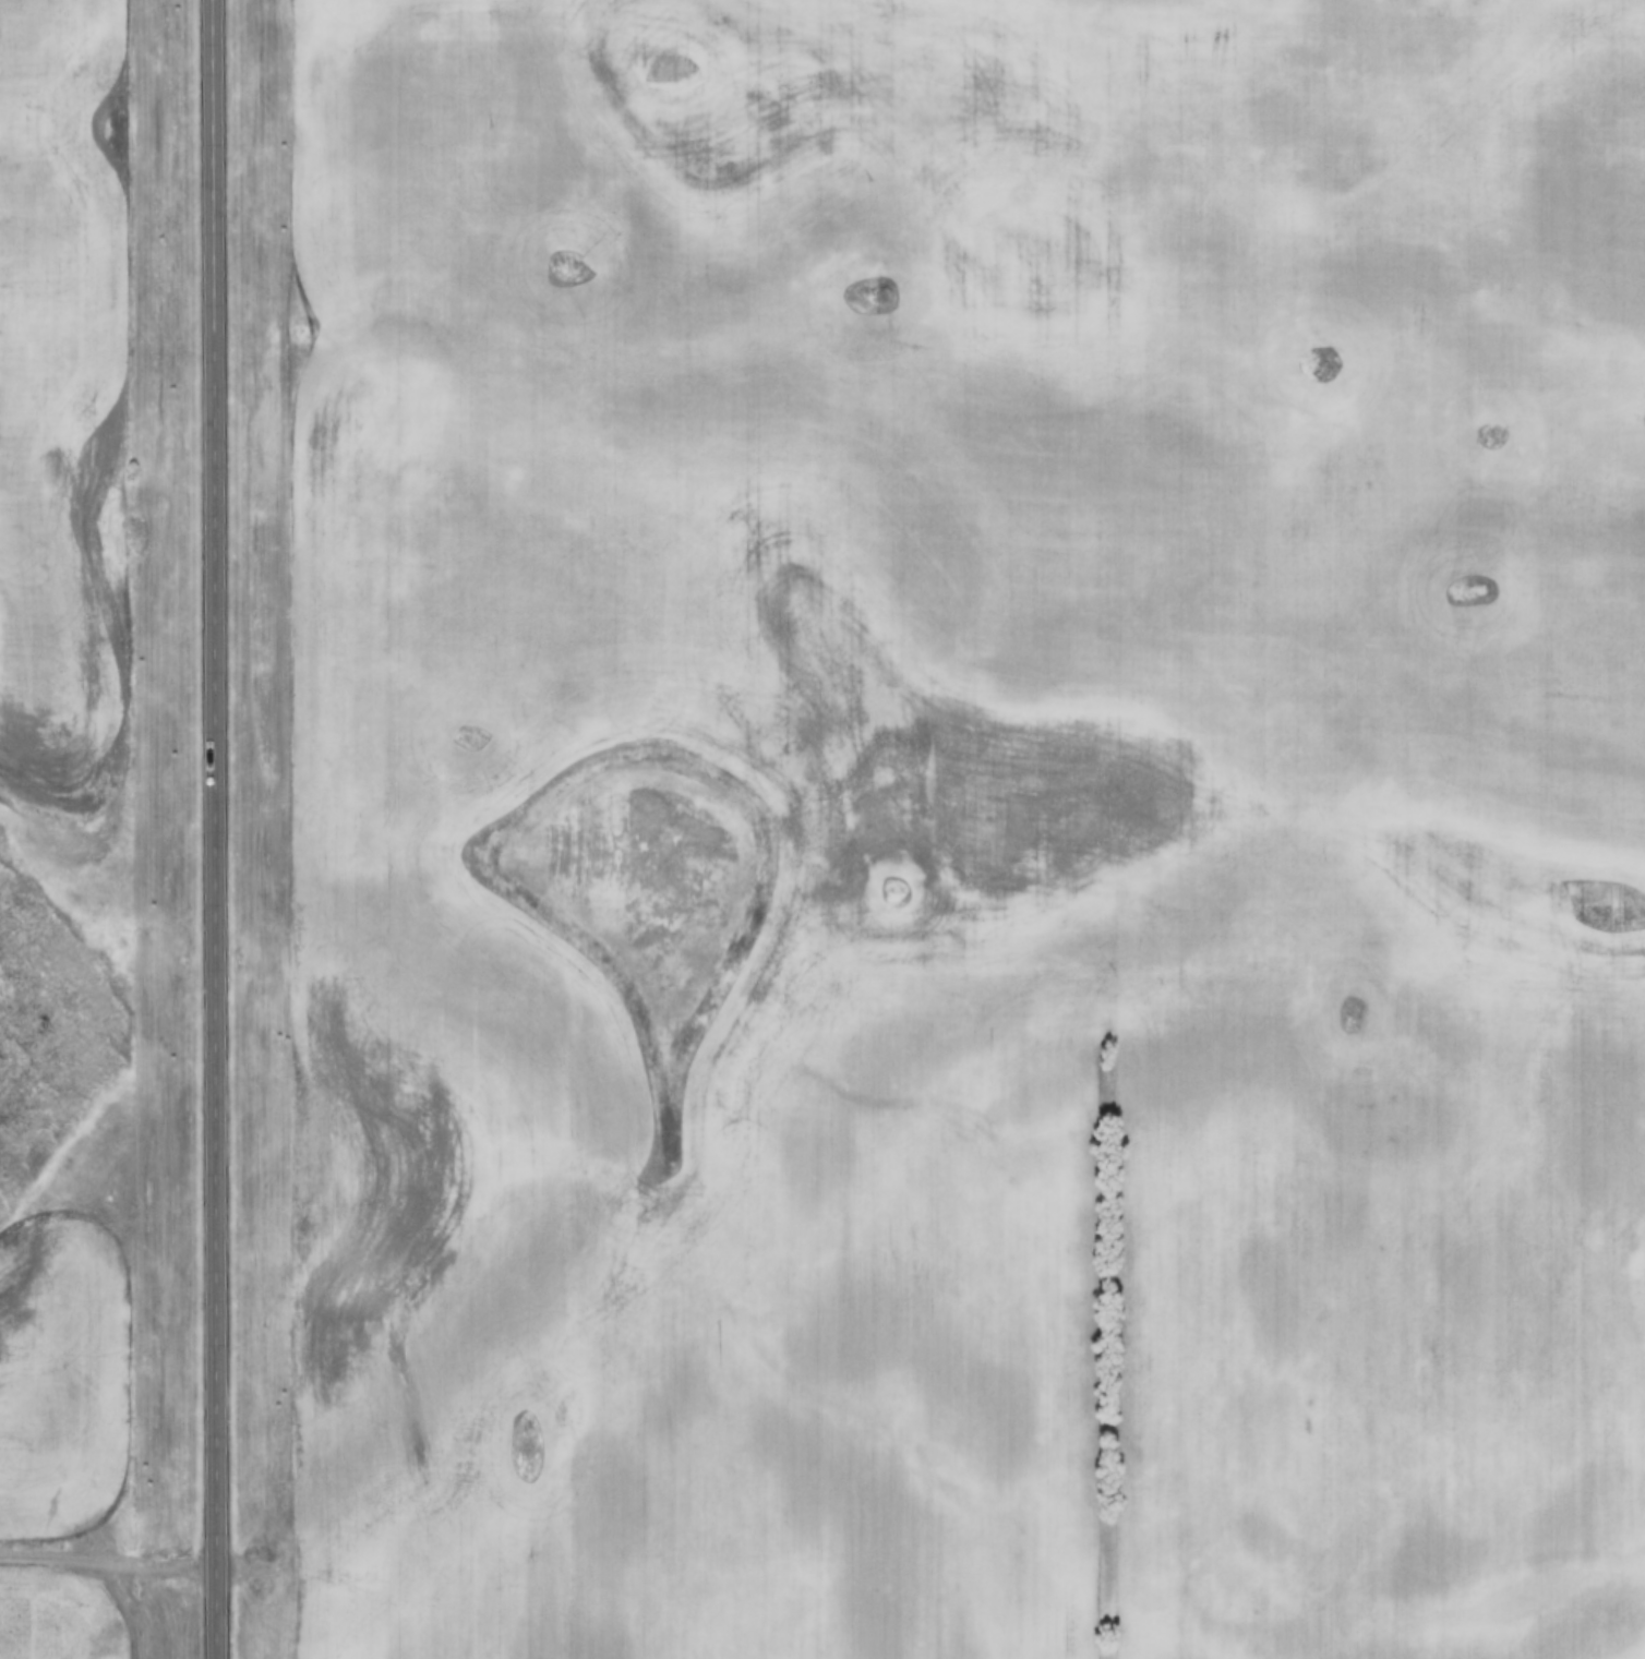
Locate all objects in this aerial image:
road: (216, 829)
road: (109, 1560)

